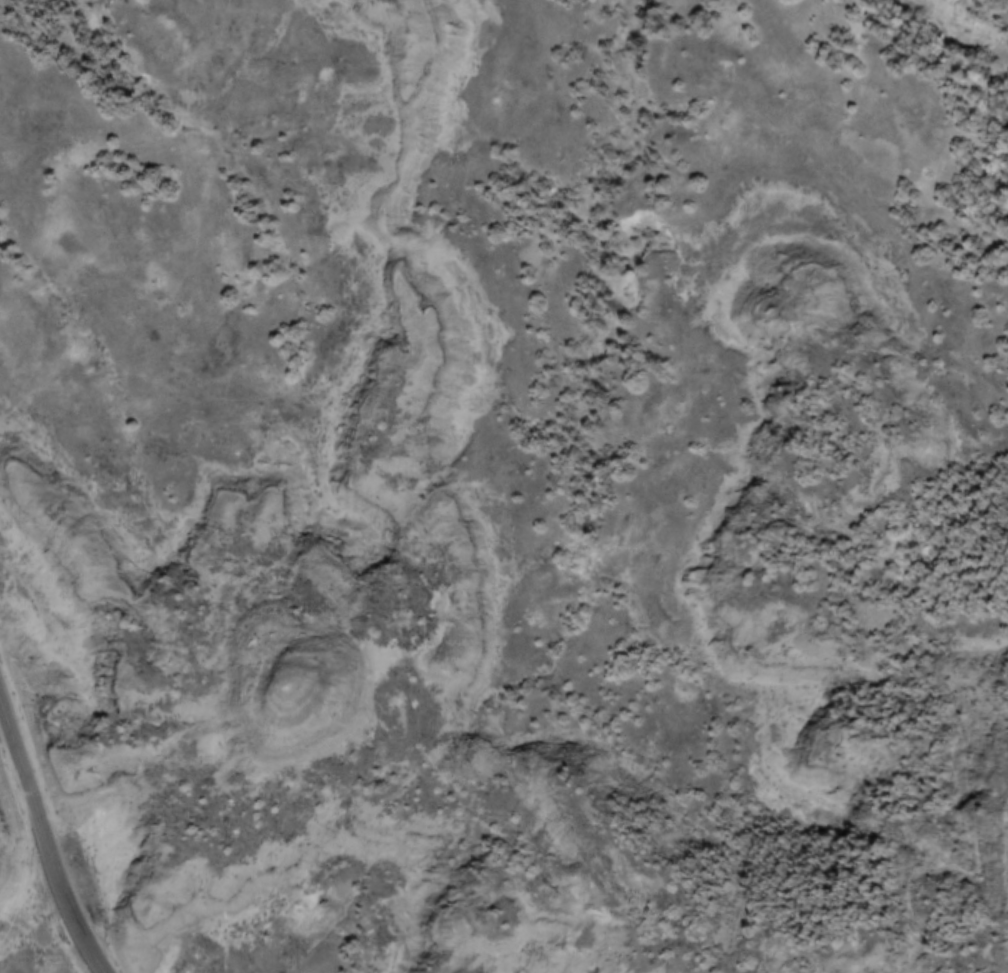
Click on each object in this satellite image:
road: (45, 845)

